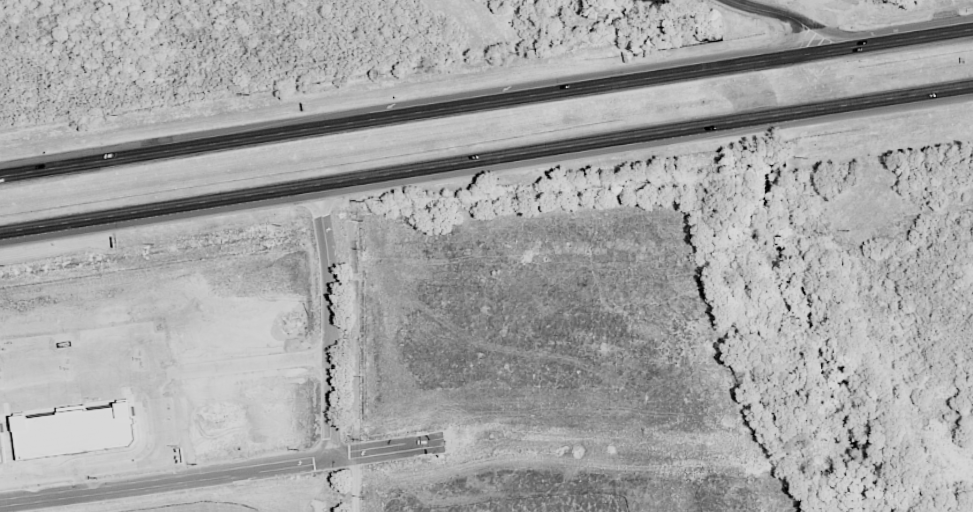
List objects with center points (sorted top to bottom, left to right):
road: (761, 9)
road: (819, 11)
road: (824, 30)
road: (796, 31)
road: (893, 39)
road: (639, 67)
road: (561, 89)
road: (898, 95)
road: (569, 145)
road: (154, 151)
road: (158, 207)
road: (331, 319)
road: (73, 349)
road: (165, 376)
road: (154, 399)
building: (71, 428)
road: (80, 468)
road: (221, 471)
road: (81, 480)

